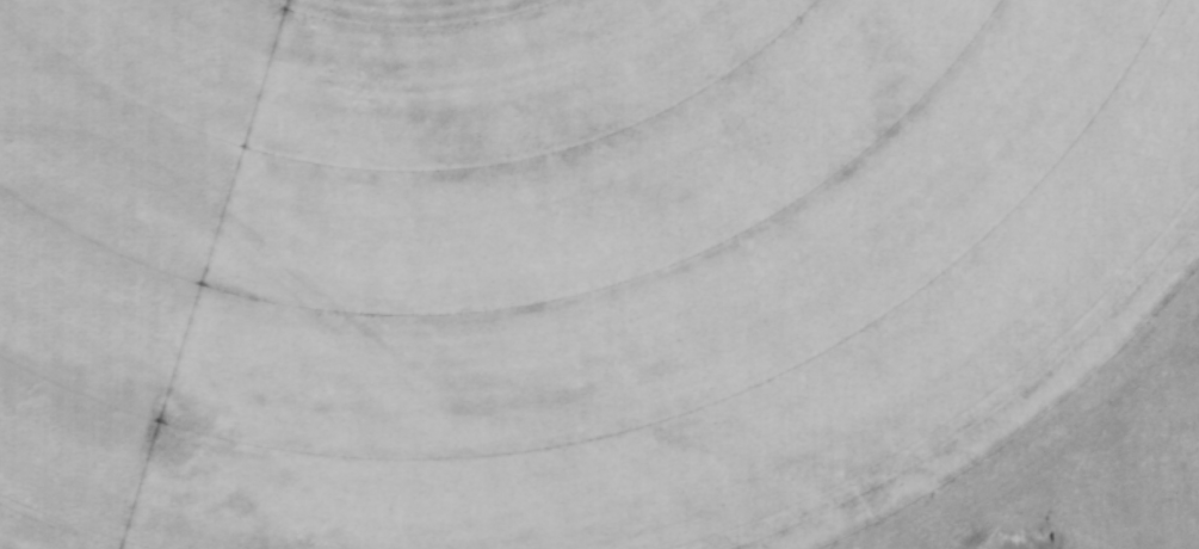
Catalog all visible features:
crop: (577, 265)

